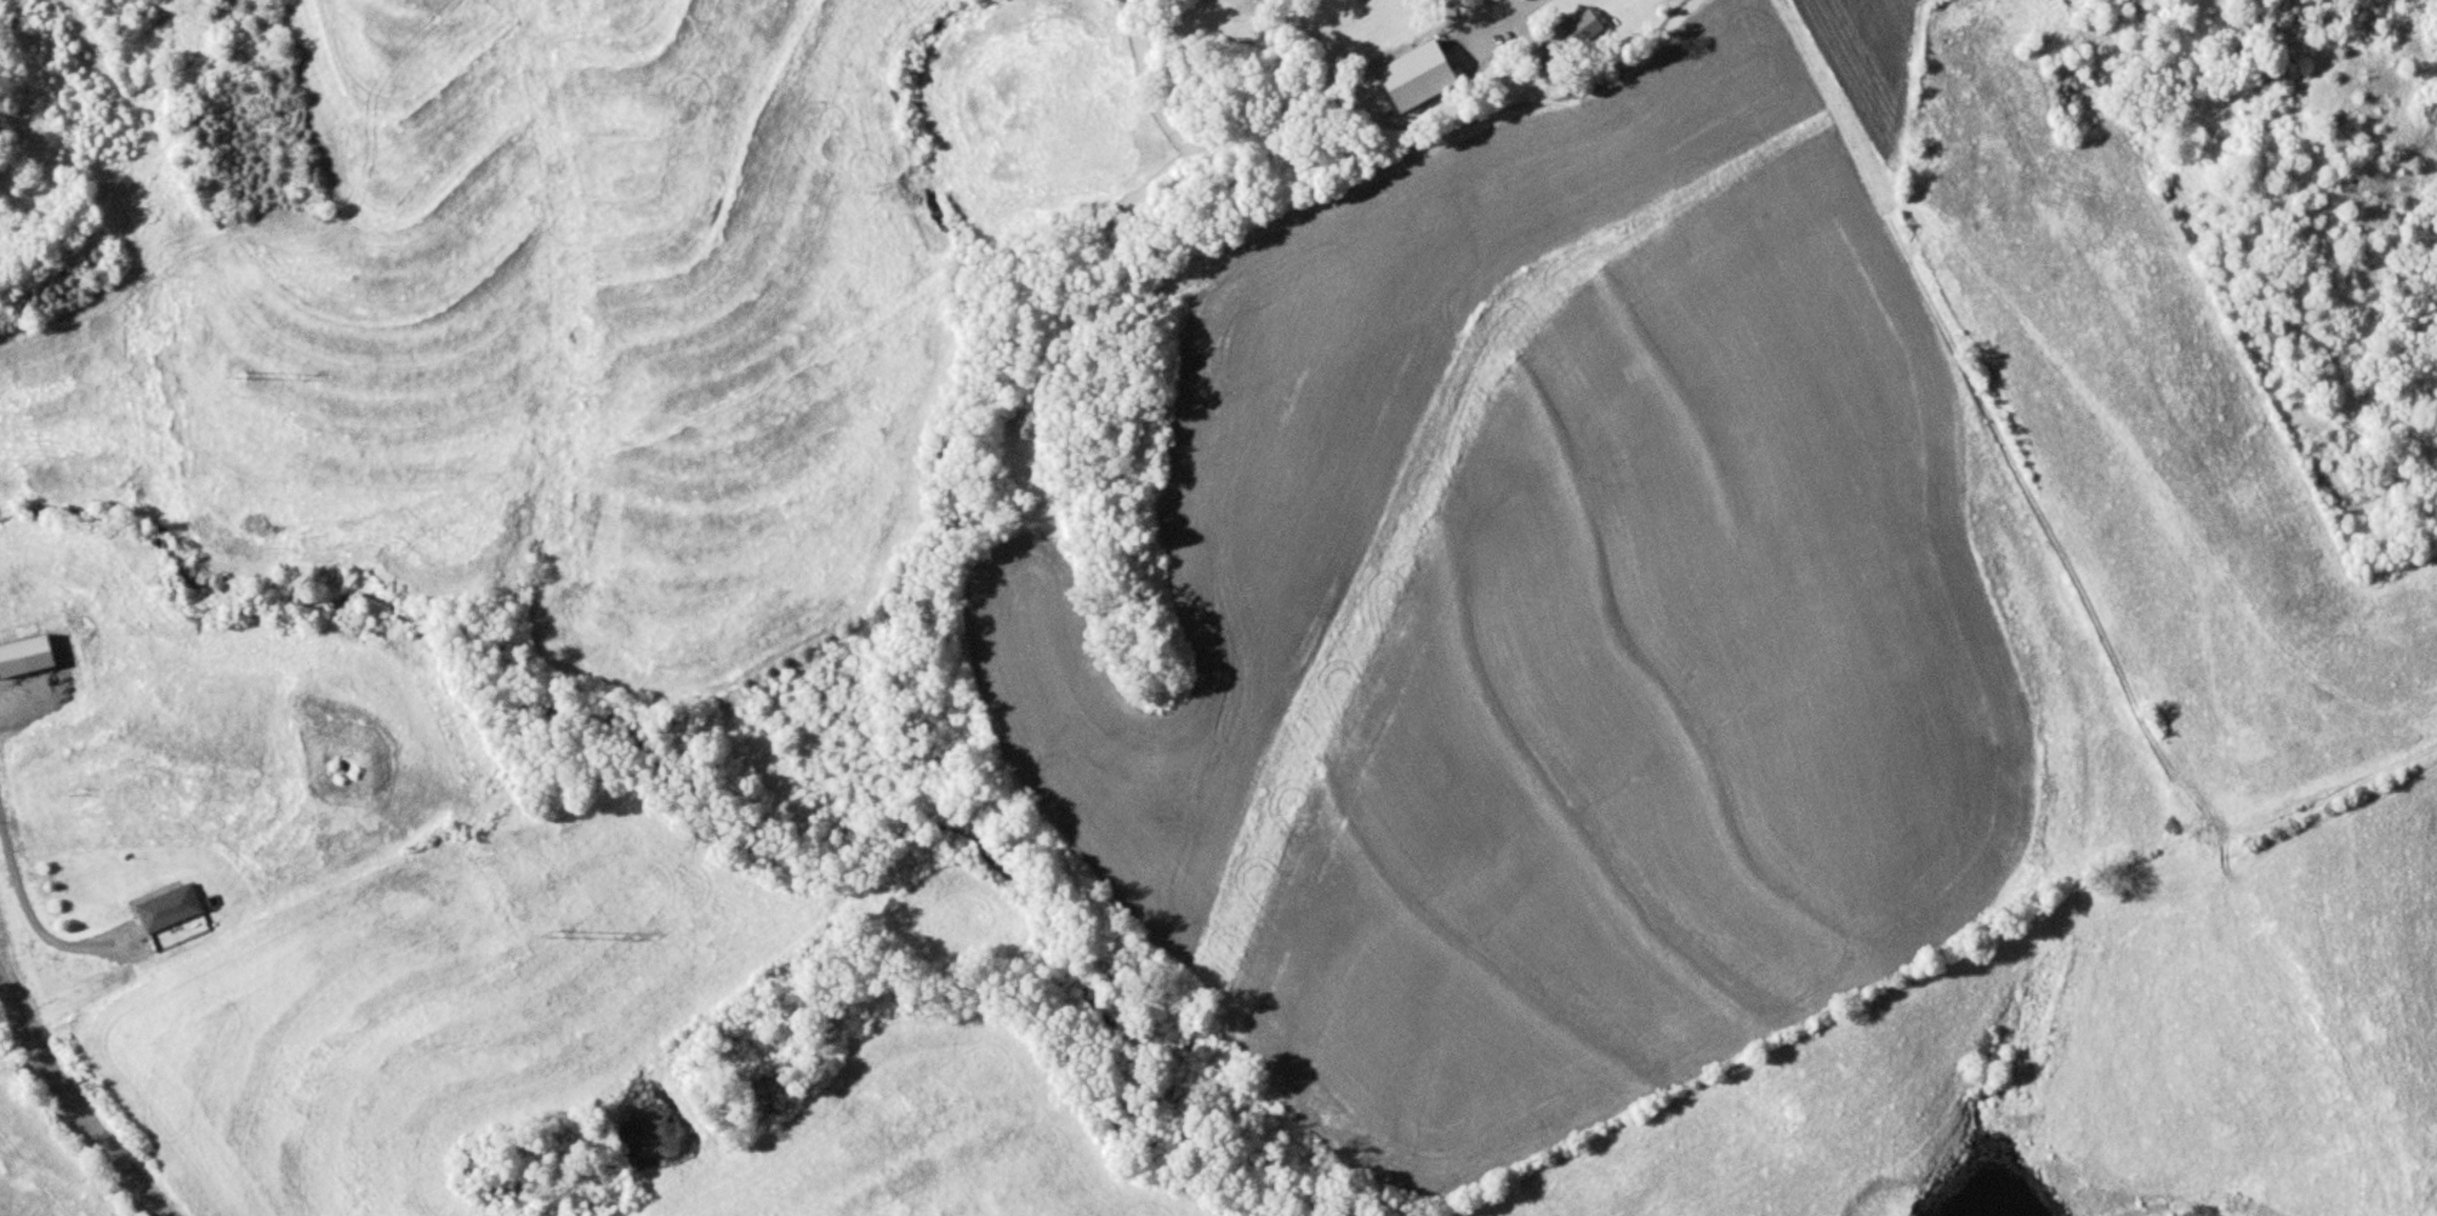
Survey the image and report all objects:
road: (1522, 7)
power tower: (234, 378)
power tower: (551, 936)
road: (82, 1081)

